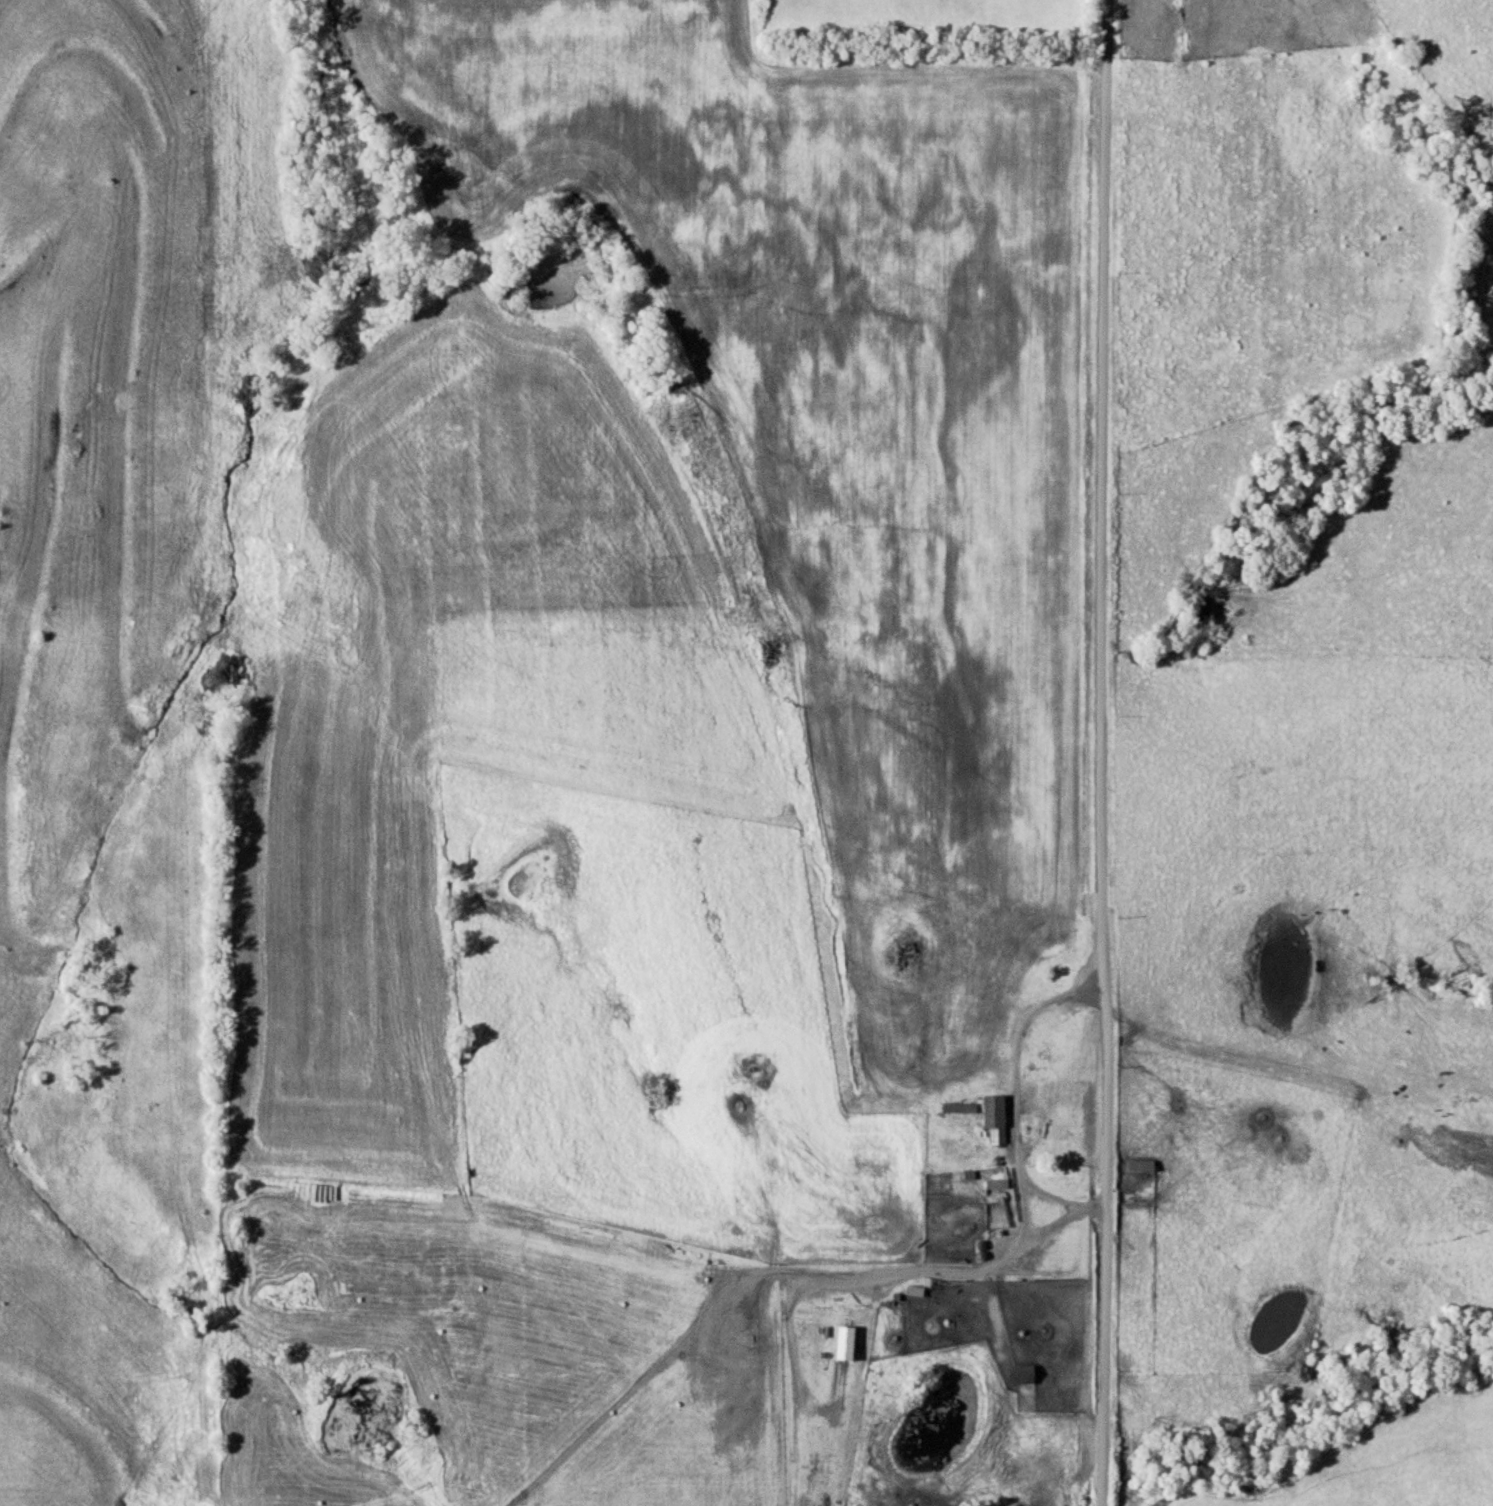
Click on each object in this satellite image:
road: (1109, 753)
building: (1054, 1023)
building: (958, 1107)
building: (994, 1116)
building: (1140, 1165)
building: (999, 1179)
building: (993, 1214)
building: (842, 1342)
building: (1023, 1373)

